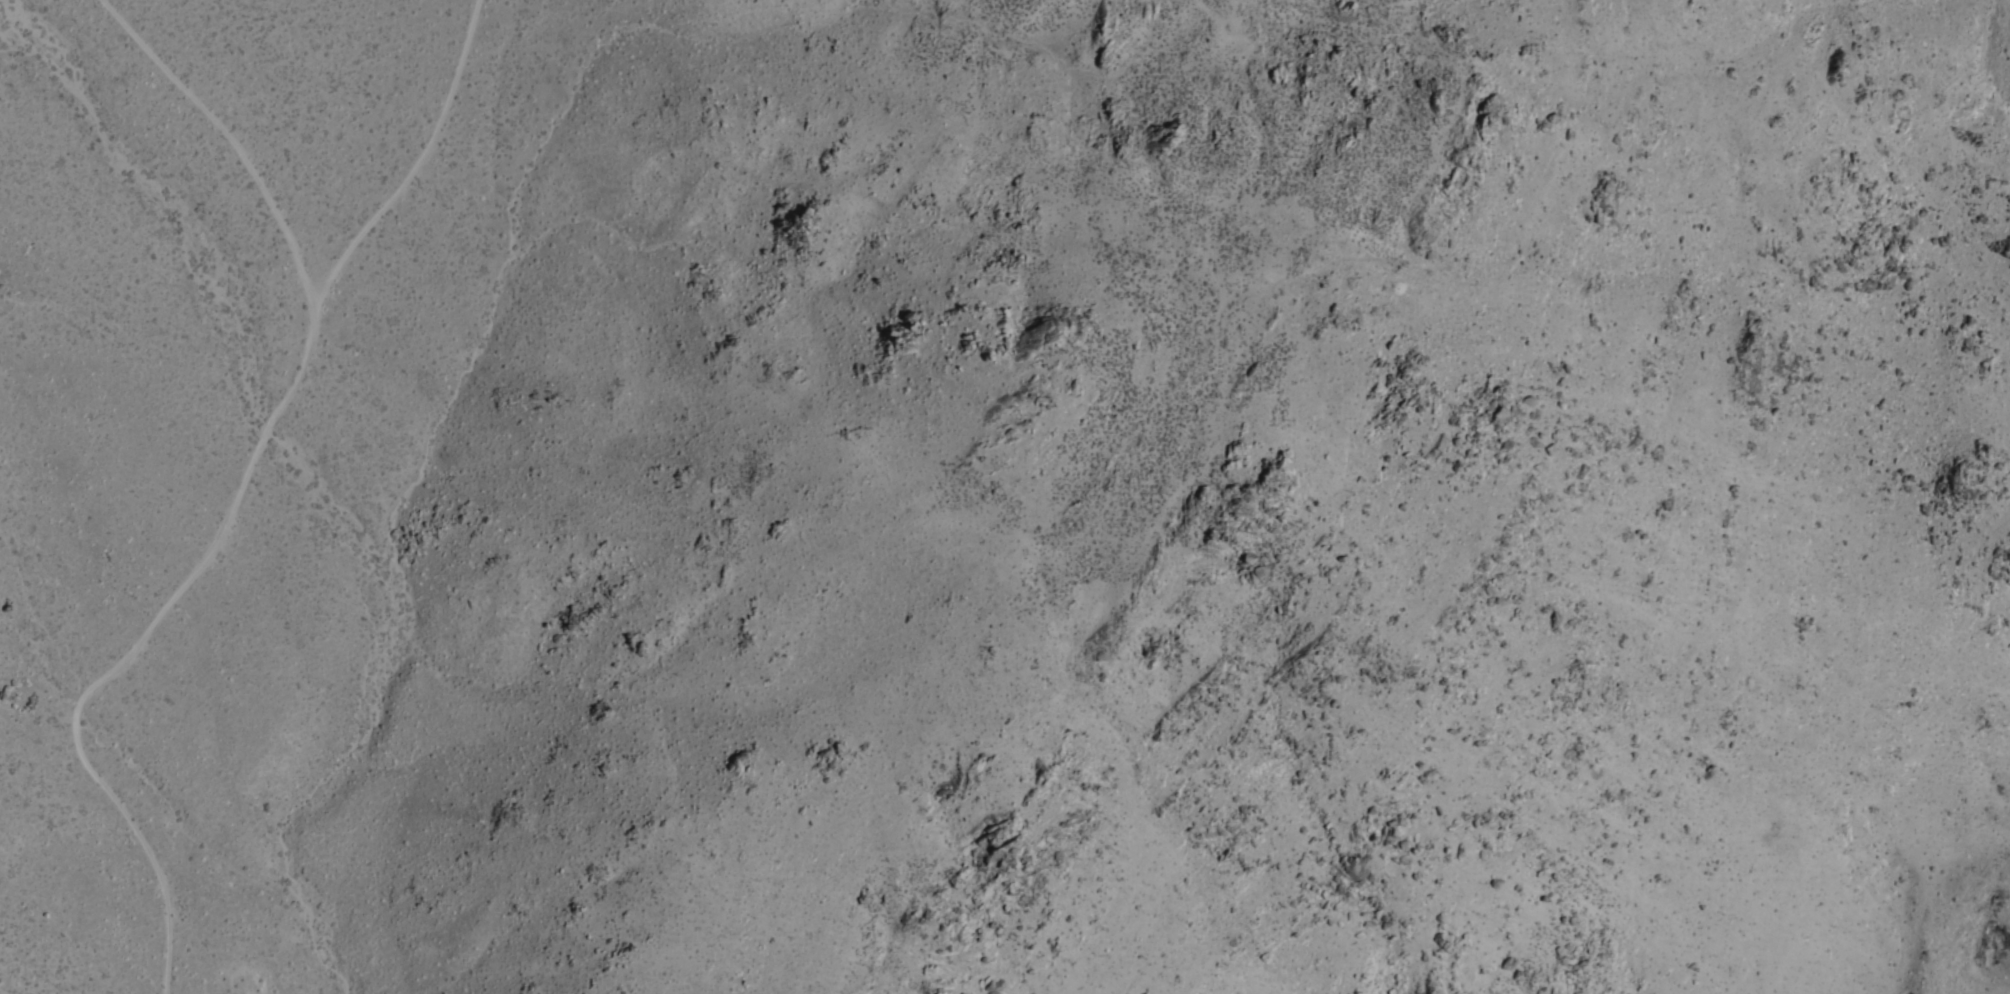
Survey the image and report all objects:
road: (231, 147)
road: (418, 171)
road: (131, 653)

